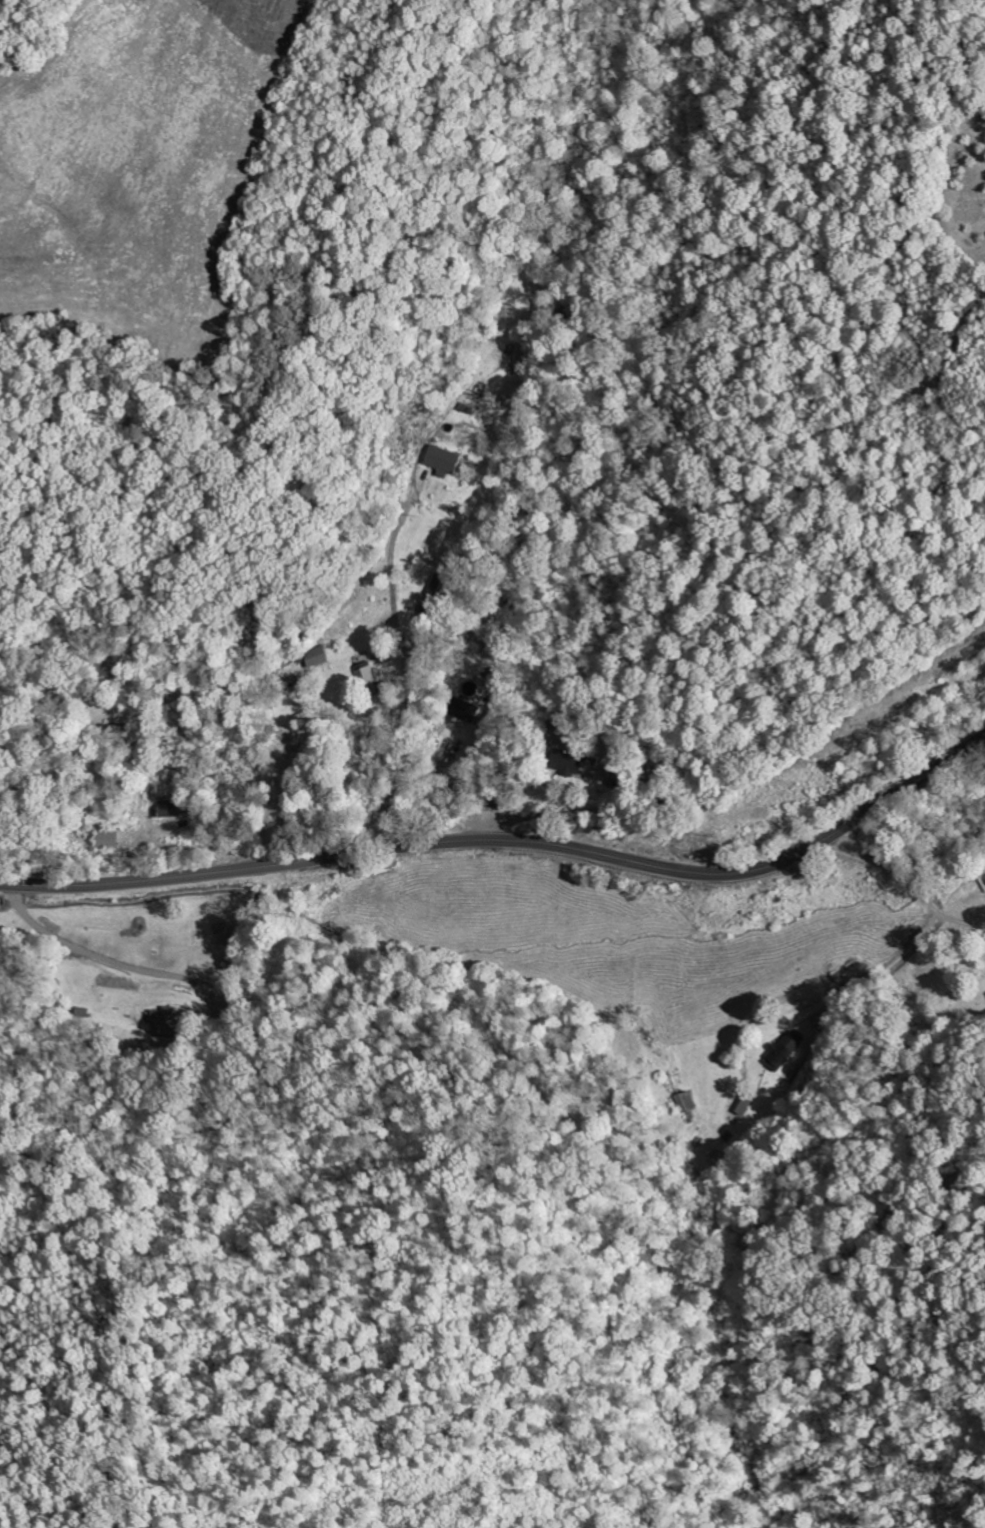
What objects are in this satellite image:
building: (444, 462)
building: (317, 658)
building: (368, 679)
road: (407, 716)
building: (569, 764)
building: (175, 810)
building: (109, 841)
road: (510, 841)
building: (784, 1052)
building: (686, 1102)
building: (745, 1106)

